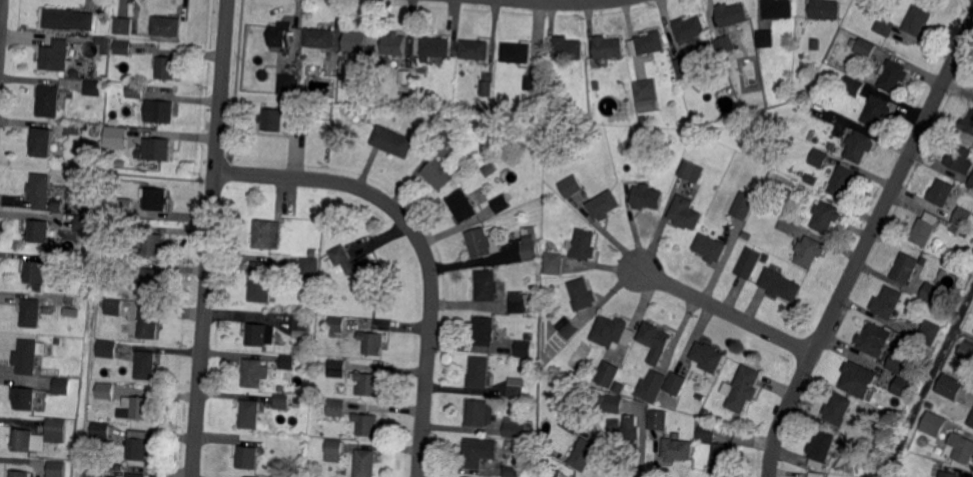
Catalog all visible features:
road: (570, 2)
building: (779, 9)
building: (825, 10)
building: (733, 14)
building: (69, 19)
building: (917, 19)
road: (1, 20)
building: (128, 26)
building: (168, 27)
building: (884, 27)
building: (689, 28)
building: (282, 34)
building: (320, 38)
building: (765, 38)
building: (356, 41)
building: (651, 42)
building: (395, 44)
building: (725, 44)
building: (814, 45)
building: (124, 47)
building: (435, 47)
building: (608, 47)
building: (710, 48)
building: (864, 49)
building: (475, 50)
building: (568, 50)
building: (517, 53)
building: (57, 55)
building: (168, 68)
building: (684, 68)
building: (370, 73)
building: (893, 75)
building: (264, 76)
building: (489, 79)
building: (529, 84)
building: (288, 85)
building: (595, 86)
building: (699, 86)
building: (852, 87)
building: (94, 89)
building: (647, 89)
building: (137, 90)
building: (423, 94)
building: (50, 101)
building: (876, 110)
building: (160, 112)
building: (274, 120)
building: (967, 123)
building: (298, 126)
building: (75, 129)
building: (120, 137)
building: (446, 137)
building: (699, 139)
building: (393, 141)
building: (45, 142)
building: (858, 146)
building: (159, 149)
building: (958, 157)
building: (819, 158)
building: (489, 169)
building: (689, 169)
building: (439, 174)
building: (843, 181)
building: (971, 183)
building: (570, 187)
building: (42, 190)
building: (941, 192)
building: (968, 193)
building: (647, 196)
building: (158, 201)
building: (501, 203)
building: (59, 205)
building: (123, 205)
building: (463, 205)
building: (604, 205)
building: (742, 207)
building: (684, 213)
building: (825, 216)
building: (961, 218)
building: (84, 224)
building: (784, 227)
building: (952, 229)
building: (39, 231)
building: (923, 231)
building: (266, 234)
building: (744, 236)
road: (211, 238)
building: (154, 243)
building: (481, 244)
building: (528, 244)
building: (583, 244)
road: (422, 246)
road: (863, 246)
building: (710, 247)
building: (808, 251)
building: (972, 252)
building: (313, 254)
building: (553, 261)
building: (923, 262)
building: (359, 266)
building: (744, 267)
building: (309, 268)
building: (904, 269)
building: (37, 273)
building: (262, 282)
building: (153, 283)
building: (779, 284)
building: (486, 286)
building: (930, 294)
building: (581, 295)
building: (518, 302)
building: (887, 302)
building: (115, 308)
road: (726, 311)
building: (32, 312)
building: (300, 323)
building: (150, 324)
building: (335, 325)
building: (324, 326)
building: (568, 327)
building: (928, 331)
building: (483, 332)
building: (609, 332)
building: (259, 335)
building: (873, 339)
building: (656, 341)
building: (958, 342)
building: (373, 343)
building: (108, 349)
building: (524, 349)
building: (966, 352)
building: (28, 356)
building: (708, 356)
building: (285, 361)
building: (898, 362)
building: (147, 365)
building: (335, 370)
building: (554, 371)
building: (480, 372)
building: (255, 373)
building: (606, 375)
building: (859, 379)
building: (676, 383)
building: (367, 384)
building: (62, 387)
building: (650, 387)
building: (898, 387)
building: (516, 388)
building: (617, 388)
building: (743, 388)
building: (949, 388)
building: (107, 390)
building: (700, 397)
building: (24, 399)
building: (283, 402)
building: (614, 405)
building: (335, 409)
building: (838, 409)
building: (138, 410)
building: (705, 412)
building: (250, 413)
building: (480, 413)
building: (655, 420)
building: (971, 420)
building: (570, 422)
building: (367, 424)
building: (932, 426)
building: (101, 429)
building: (518, 429)
building: (705, 434)
building: (626, 435)
building: (41, 436)
building: (139, 445)
building: (820, 446)
building: (334, 449)
building: (961, 449)
building: (677, 450)
building: (480, 452)
building: (585, 454)
building: (248, 457)
building: (722, 458)
building: (364, 463)
building: (55, 469)
building: (96, 470)
building: (511, 471)
building: (550, 473)
building: (19, 474)
building: (815, 474)
building: (949, 474)
building: (136, 475)

